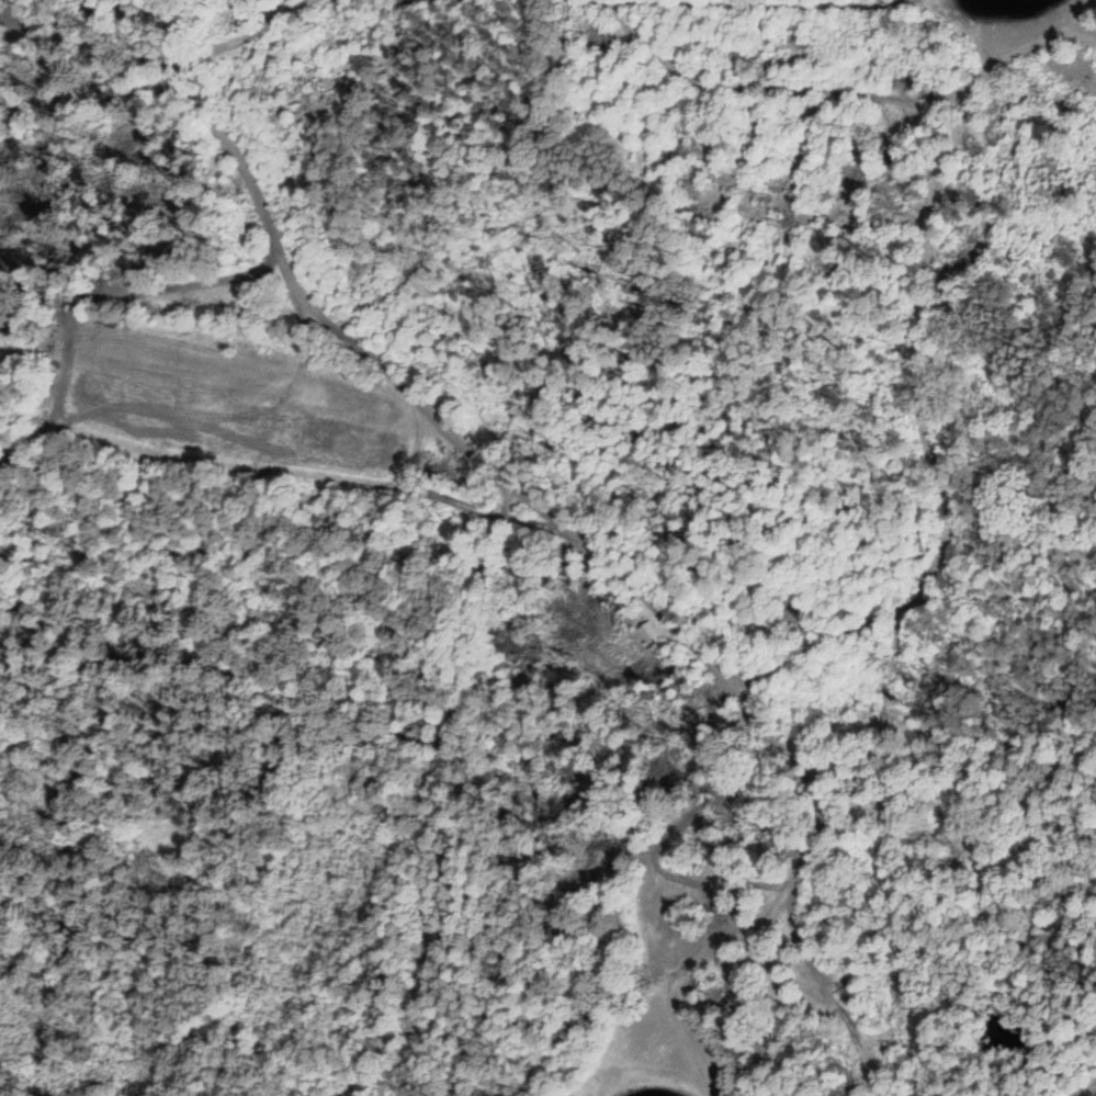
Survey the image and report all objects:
road: (895, 613)

